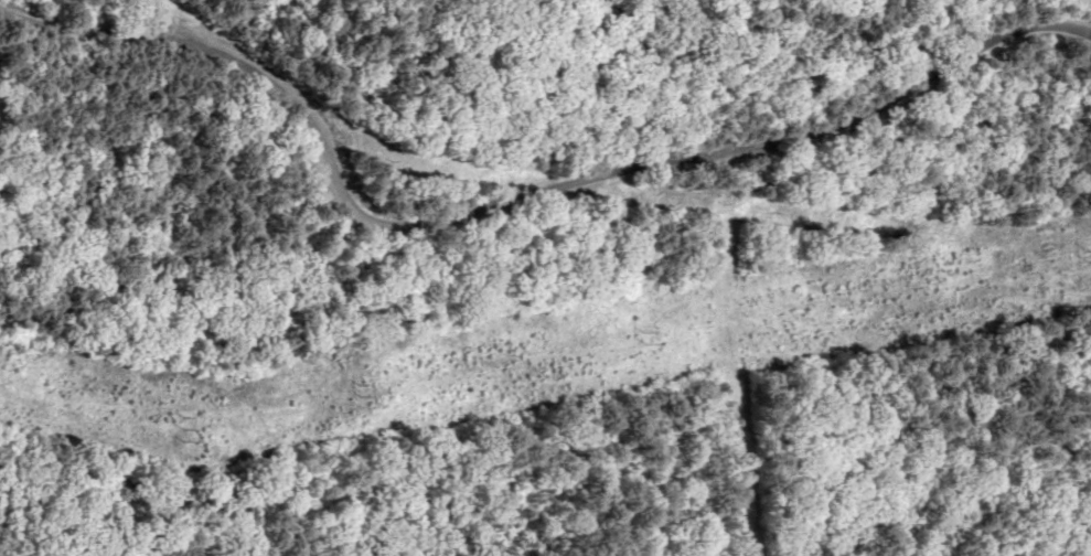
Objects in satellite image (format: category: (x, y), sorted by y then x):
road: (267, 46)
road: (753, 146)
road: (324, 383)

